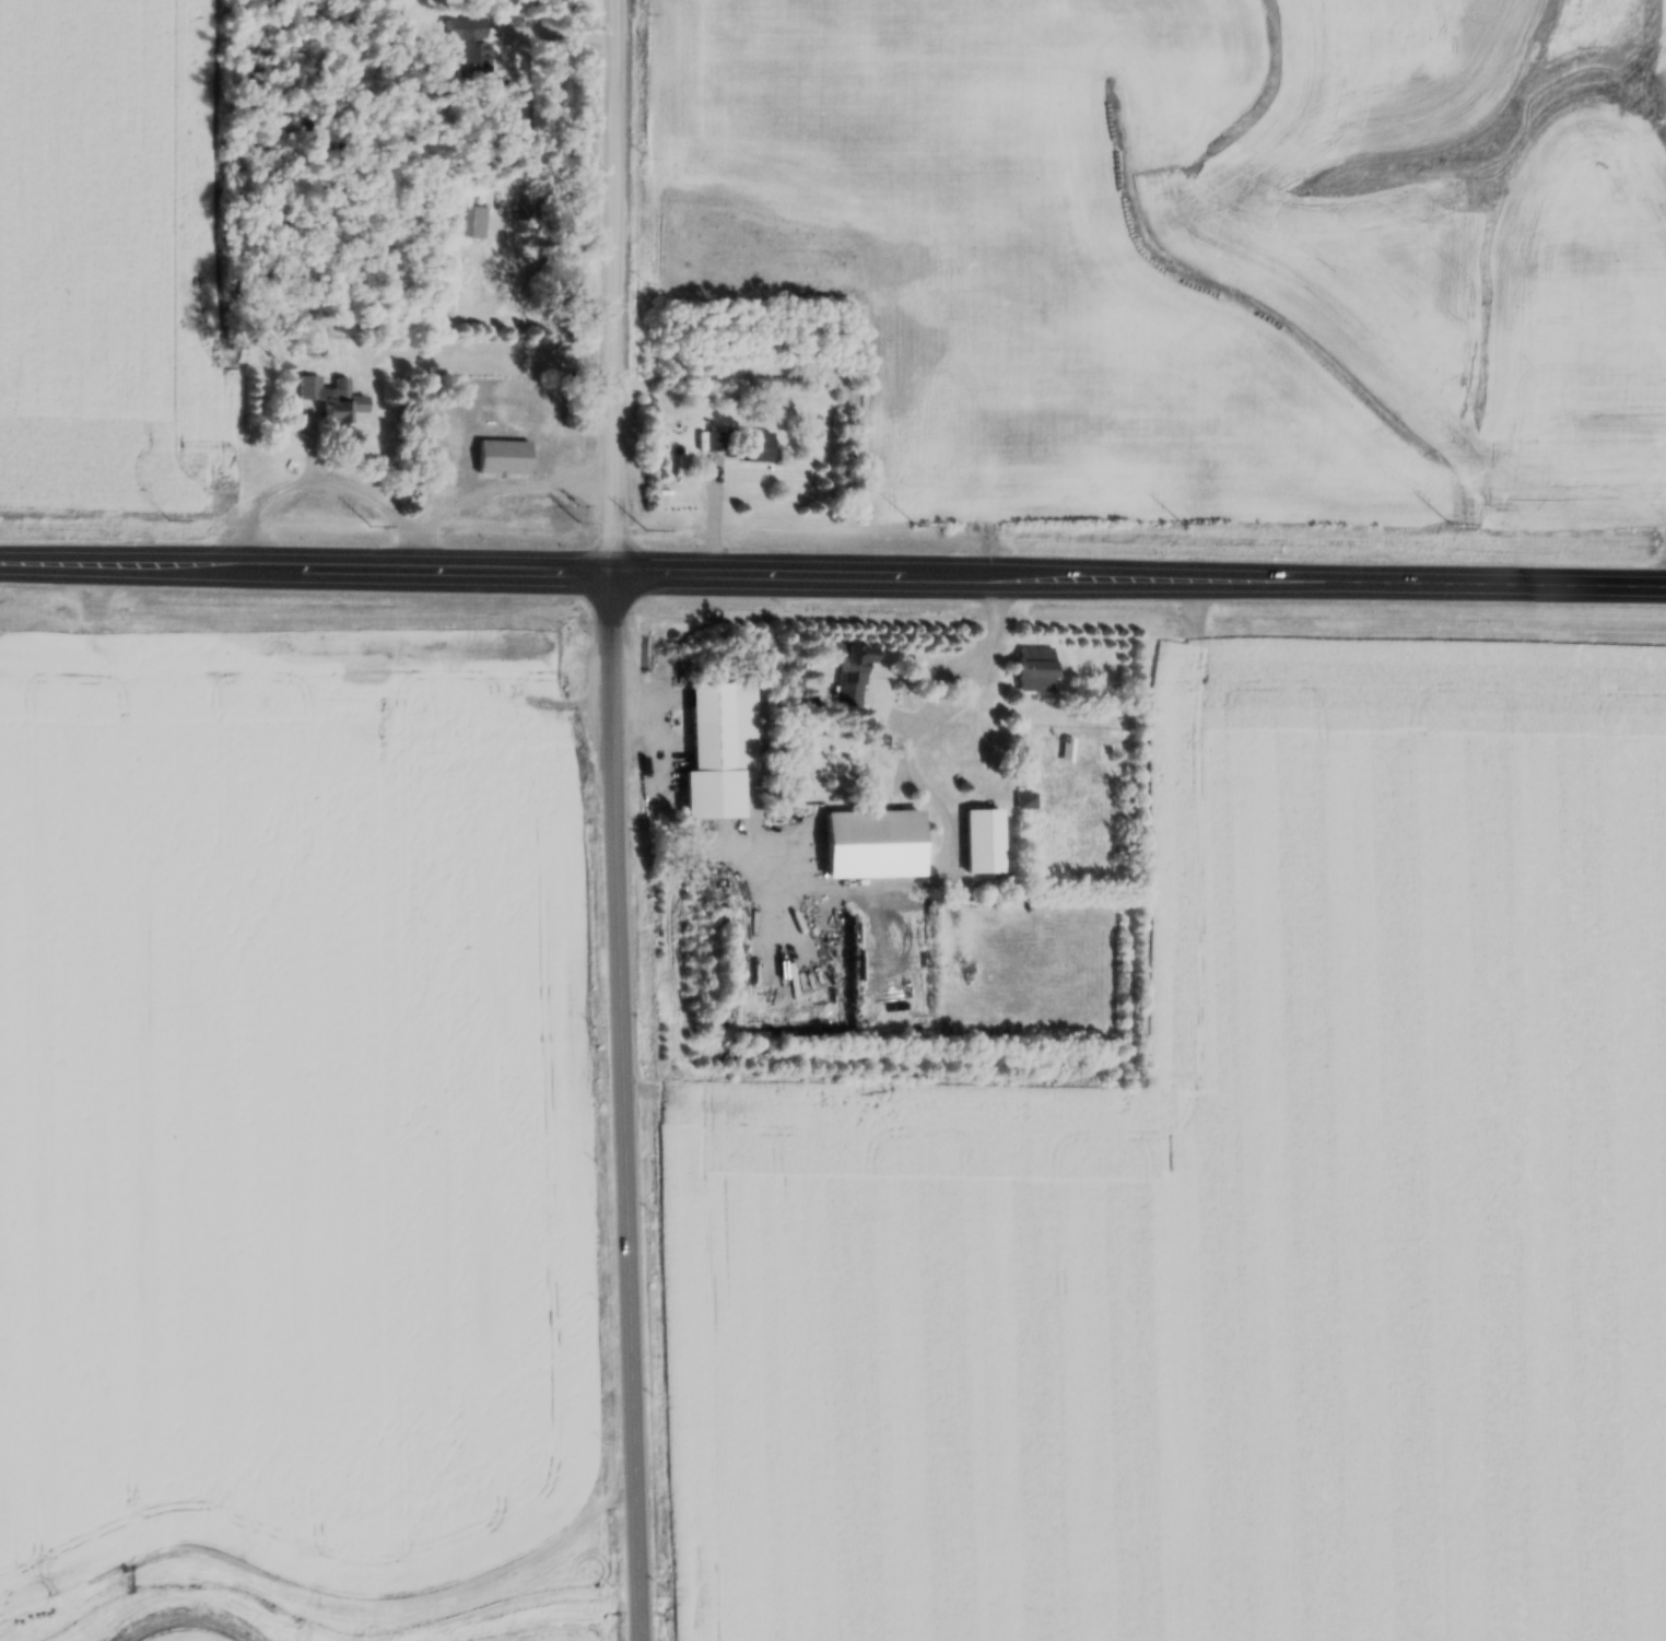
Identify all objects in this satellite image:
building: (479, 44)
building: (468, 223)
road: (617, 284)
building: (312, 389)
building: (524, 401)
building: (344, 405)
building: (718, 443)
building: (761, 448)
building: (506, 459)
road: (319, 484)
road: (502, 491)
power tower: (579, 532)
road: (832, 572)
building: (1037, 670)
building: (852, 677)
building: (911, 706)
building: (720, 751)
road: (919, 783)
building: (973, 816)
road: (631, 1105)

